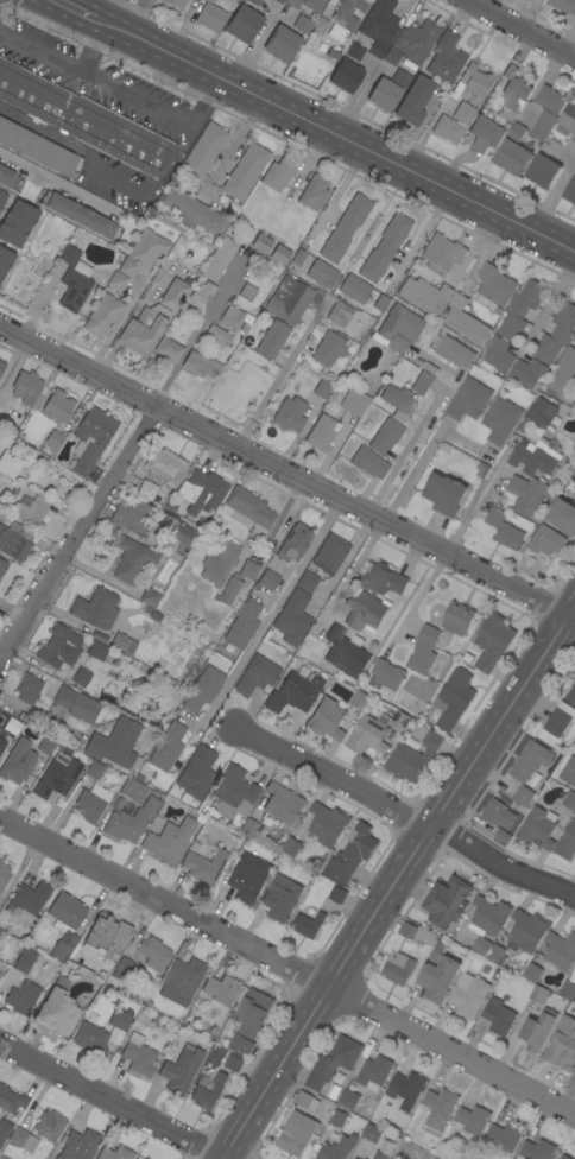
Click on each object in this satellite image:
building: (208, 0)
building: (278, 1)
building: (253, 2)
building: (292, 2)
building: (177, 4)
building: (314, 5)
building: (563, 5)
road: (74, 8)
road: (110, 12)
building: (347, 13)
road: (527, 14)
building: (210, 17)
road: (139, 18)
building: (379, 21)
building: (242, 24)
building: (301, 25)
road: (520, 28)
road: (567, 38)
building: (282, 44)
road: (93, 46)
building: (377, 49)
building: (410, 49)
road: (40, 50)
building: (354, 51)
building: (444, 58)
building: (346, 75)
building: (474, 80)
building: (513, 91)
building: (384, 94)
building: (550, 99)
building: (413, 101)
road: (159, 109)
building: (569, 118)
building: (84, 119)
building: (453, 122)
building: (543, 125)
road: (334, 134)
building: (485, 134)
building: (570, 144)
building: (551, 146)
road: (234, 147)
building: (37, 148)
building: (203, 151)
building: (513, 151)
building: (245, 171)
building: (543, 171)
building: (277, 175)
building: (7, 178)
road: (49, 182)
building: (314, 192)
road: (335, 192)
building: (570, 192)
building: (2, 198)
building: (192, 211)
building: (77, 214)
building: (17, 223)
building: (345, 228)
road: (419, 236)
building: (260, 243)
building: (384, 247)
building: (143, 253)
building: (441, 253)
building: (69, 254)
building: (279, 254)
building: (298, 256)
building: (219, 259)
building: (5, 260)
building: (321, 273)
building: (116, 281)
building: (75, 286)
building: (354, 289)
building: (494, 289)
building: (202, 292)
building: (247, 292)
building: (173, 294)
building: (424, 294)
building: (287, 299)
building: (378, 302)
building: (522, 310)
building: (339, 313)
building: (102, 316)
building: (230, 317)
building: (465, 321)
road: (112, 328)
building: (397, 329)
building: (143, 330)
building: (556, 334)
building: (216, 335)
building: (272, 338)
building: (574, 340)
building: (168, 348)
building: (328, 348)
building: (455, 351)
building: (497, 355)
building: (197, 365)
building: (1, 366)
building: (562, 372)
building: (529, 373)
road: (282, 376)
building: (424, 379)
building: (26, 386)
building: (322, 389)
building: (397, 398)
building: (468, 400)
building: (354, 401)
building: (57, 405)
building: (289, 414)
building: (538, 414)
building: (500, 420)
building: (321, 433)
building: (385, 436)
building: (90, 438)
building: (53, 439)
road: (409, 445)
building: (533, 457)
building: (368, 463)
building: (8, 464)
building: (165, 465)
building: (481, 468)
building: (574, 468)
building: (574, 470)
road: (286, 474)
road: (411, 474)
building: (146, 489)
building: (200, 490)
building: (444, 494)
road: (479, 495)
building: (529, 495)
building: (249, 507)
building: (30, 509)
building: (562, 515)
building: (133, 517)
building: (175, 530)
building: (504, 530)
road: (77, 532)
building: (14, 540)
building: (546, 540)
building: (293, 543)
building: (329, 553)
building: (132, 557)
road: (342, 559)
building: (219, 560)
building: (2, 566)
building: (248, 570)
building: (267, 579)
building: (383, 579)
building: (307, 582)
building: (230, 589)
building: (150, 597)
road: (416, 600)
building: (96, 608)
building: (367, 613)
road: (266, 614)
building: (292, 617)
building: (457, 619)
building: (242, 625)
building: (493, 641)
building: (122, 642)
building: (59, 647)
building: (97, 651)
building: (424, 651)
building: (345, 652)
building: (574, 672)
building: (387, 674)
building: (257, 676)
building: (80, 677)
building: (29, 689)
building: (203, 689)
building: (293, 692)
building: (360, 699)
building: (455, 699)
building: (76, 704)
building: (563, 715)
building: (327, 718)
building: (400, 721)
building: (368, 736)
building: (2, 743)
building: (114, 743)
building: (45, 746)
building: (166, 747)
building: (413, 756)
building: (15, 767)
building: (94, 769)
building: (529, 769)
building: (568, 769)
building: (197, 773)
building: (57, 775)
building: (133, 790)
building: (233, 792)
building: (569, 800)
building: (283, 804)
building: (89, 806)
building: (495, 812)
road: (405, 813)
building: (131, 821)
building: (328, 824)
building: (248, 828)
building: (538, 829)
building: (169, 841)
building: (567, 843)
building: (291, 847)
building: (350, 855)
building: (0, 861)
building: (204, 866)
building: (4, 875)
building: (247, 878)
road: (393, 878)
building: (337, 895)
building: (30, 897)
building: (280, 900)
building: (447, 901)
building: (65, 911)
building: (489, 917)
building: (308, 925)
building: (527, 931)
building: (0, 933)
building: (106, 937)
building: (482, 946)
building: (61, 951)
building: (561, 951)
building: (152, 952)
building: (497, 955)
building: (398, 957)
building: (24, 961)
building: (0, 964)
road: (287, 965)
building: (121, 969)
building: (574, 970)
building: (532, 973)
building: (0, 974)
building: (437, 975)
building: (182, 981)
building: (568, 988)
building: (220, 989)
building: (539, 994)
building: (469, 995)
building: (21, 997)
building: (57, 1009)
building: (255, 1011)
building: (499, 1016)
building: (120, 1020)
building: (538, 1030)
building: (90, 1038)
building: (241, 1044)
building: (562, 1045)
building: (138, 1057)
building: (235, 1062)
building: (333, 1063)
building: (181, 1069)
building: (374, 1072)
building: (574, 1073)
building: (406, 1090)
building: (208, 1091)
building: (348, 1098)
building: (11, 1101)
road: (113, 1101)
building: (307, 1101)
building: (440, 1108)
building: (339, 1119)
building: (473, 1120)
building: (48, 1125)
building: (4, 1129)
building: (297, 1133)
building: (372, 1133)
building: (505, 1136)
building: (23, 1140)
building: (78, 1145)
building: (337, 1147)
building: (537, 1149)
building: (114, 1153)
building: (379, 1155)
building: (565, 1157)
building: (143, 1158)
building: (145, 1158)
building: (355, 1158)

